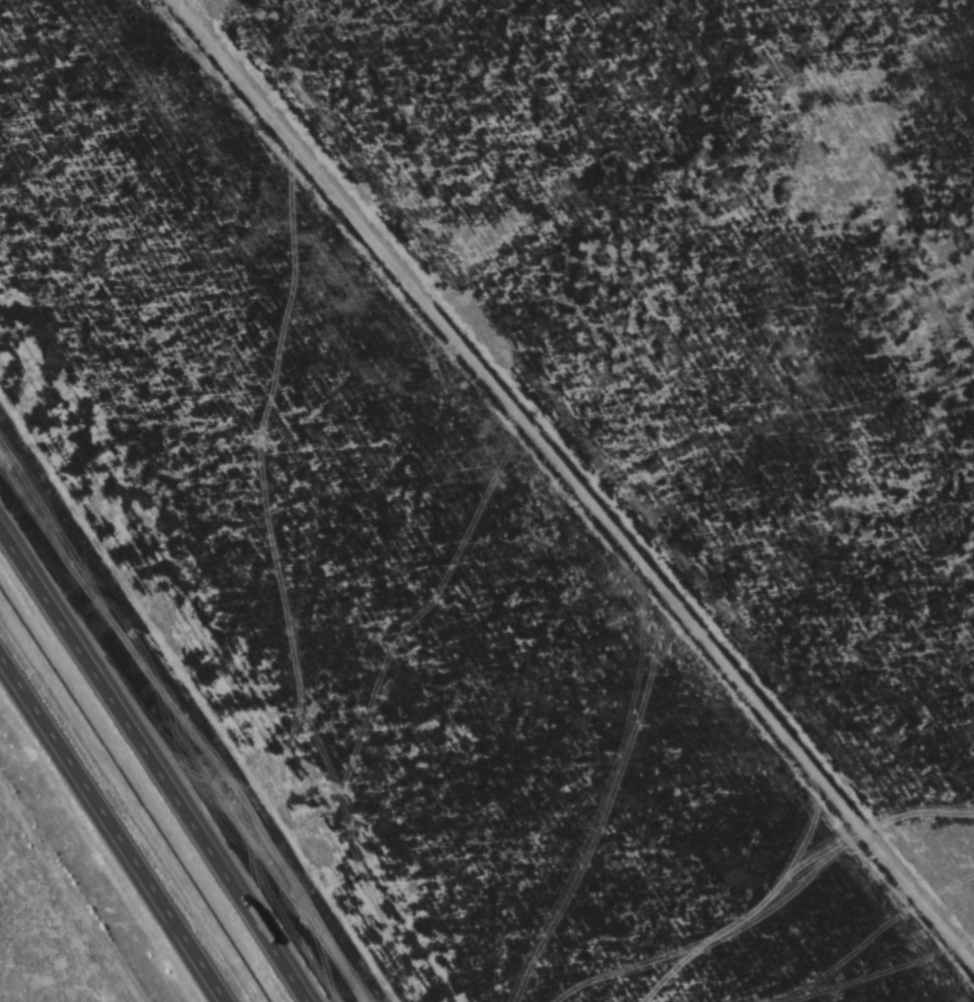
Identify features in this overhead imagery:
road: (560, 500)
road: (152, 767)
road: (114, 828)

